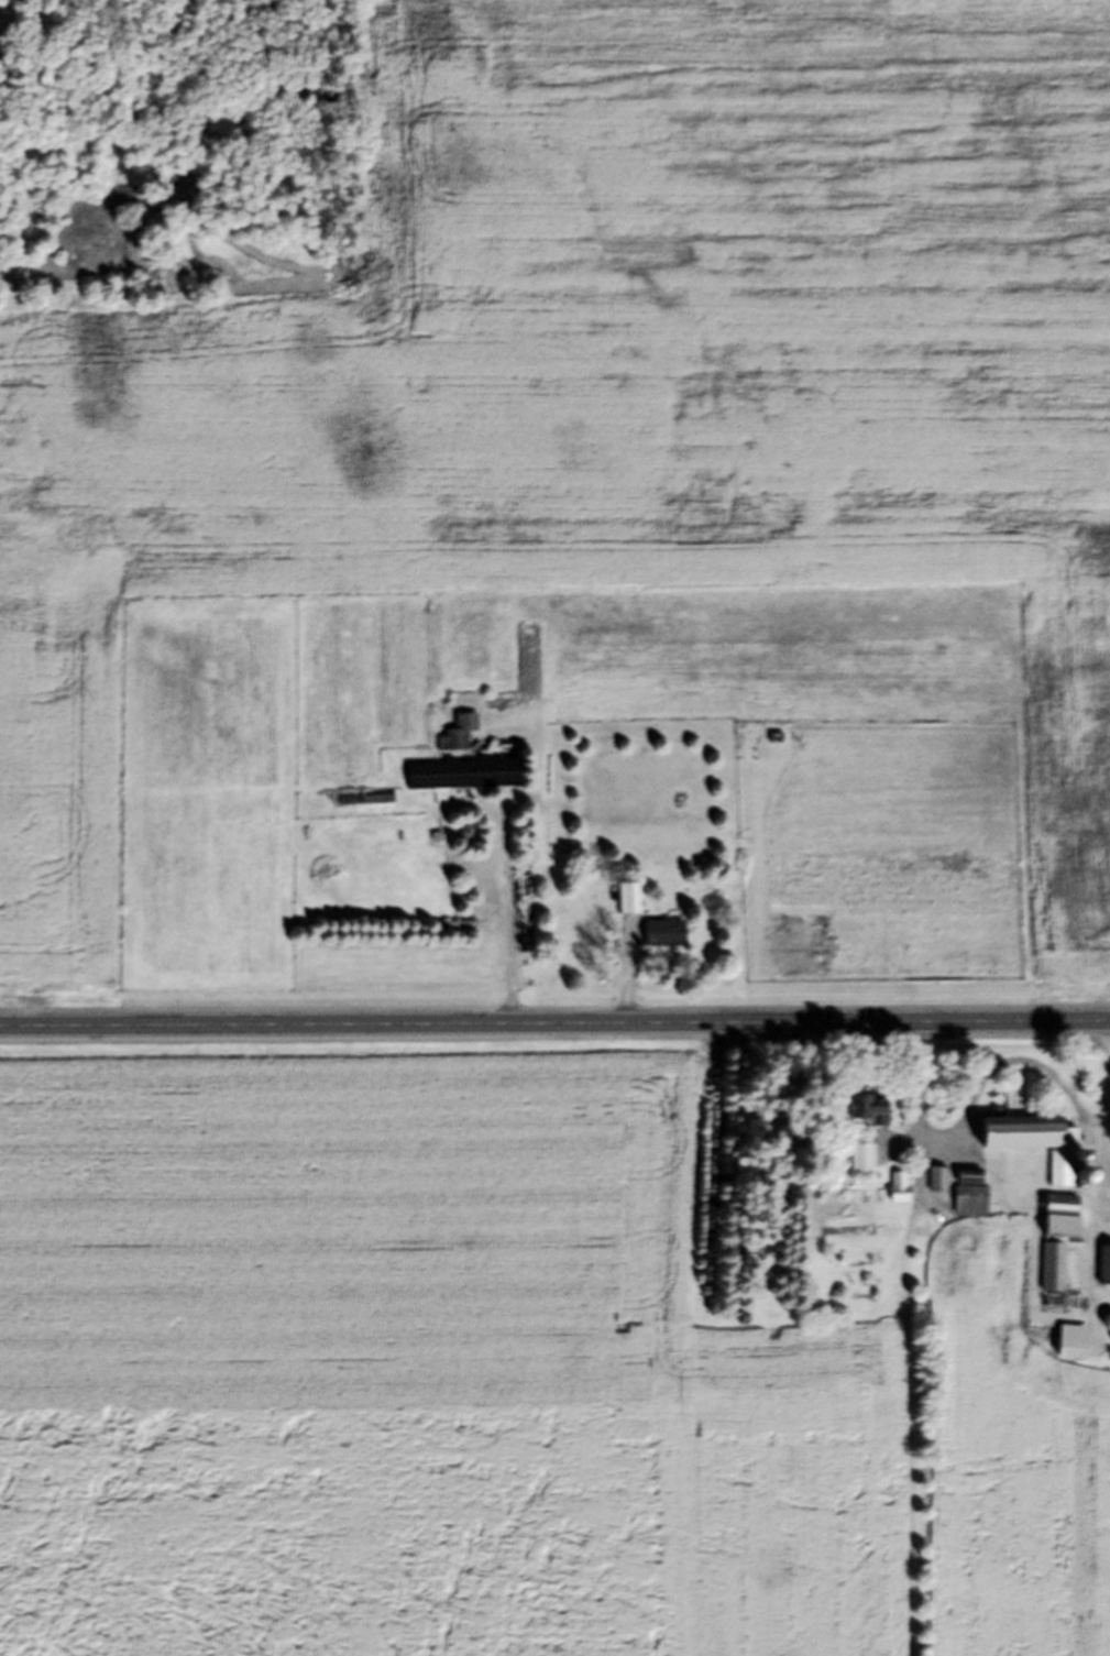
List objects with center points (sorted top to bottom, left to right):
building: (427, 651)
building: (454, 738)
building: (459, 780)
building: (344, 804)
building: (625, 904)
building: (452, 932)
building: (659, 939)
road: (554, 1028)
building: (861, 1115)
building: (1035, 1151)
building: (857, 1163)
building: (933, 1184)
building: (894, 1192)
building: (966, 1200)
building: (1054, 1244)
building: (935, 1251)
building: (1102, 1272)
building: (1067, 1348)

